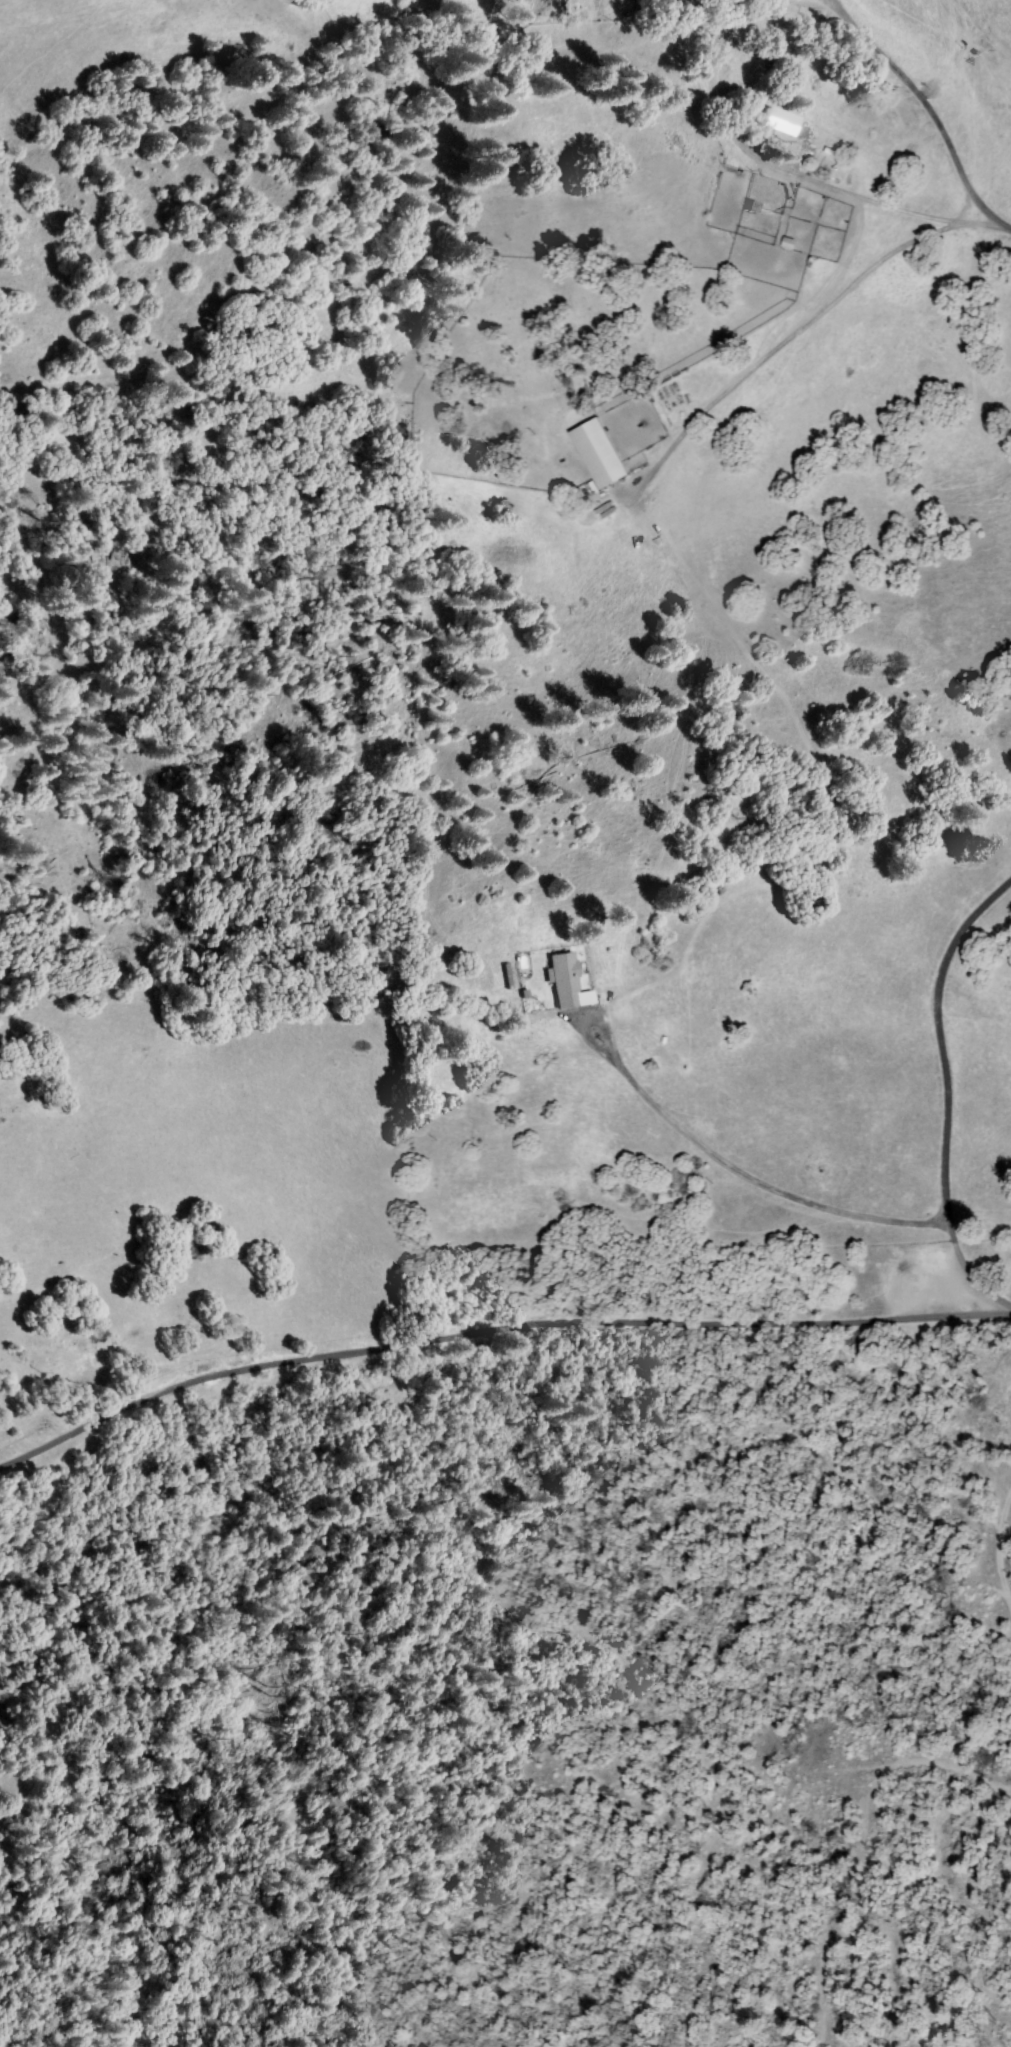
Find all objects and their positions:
building: (571, 4)
road: (932, 112)
building: (785, 131)
road: (783, 165)
building: (600, 454)
building: (566, 981)
road: (946, 1090)
road: (493, 1332)

